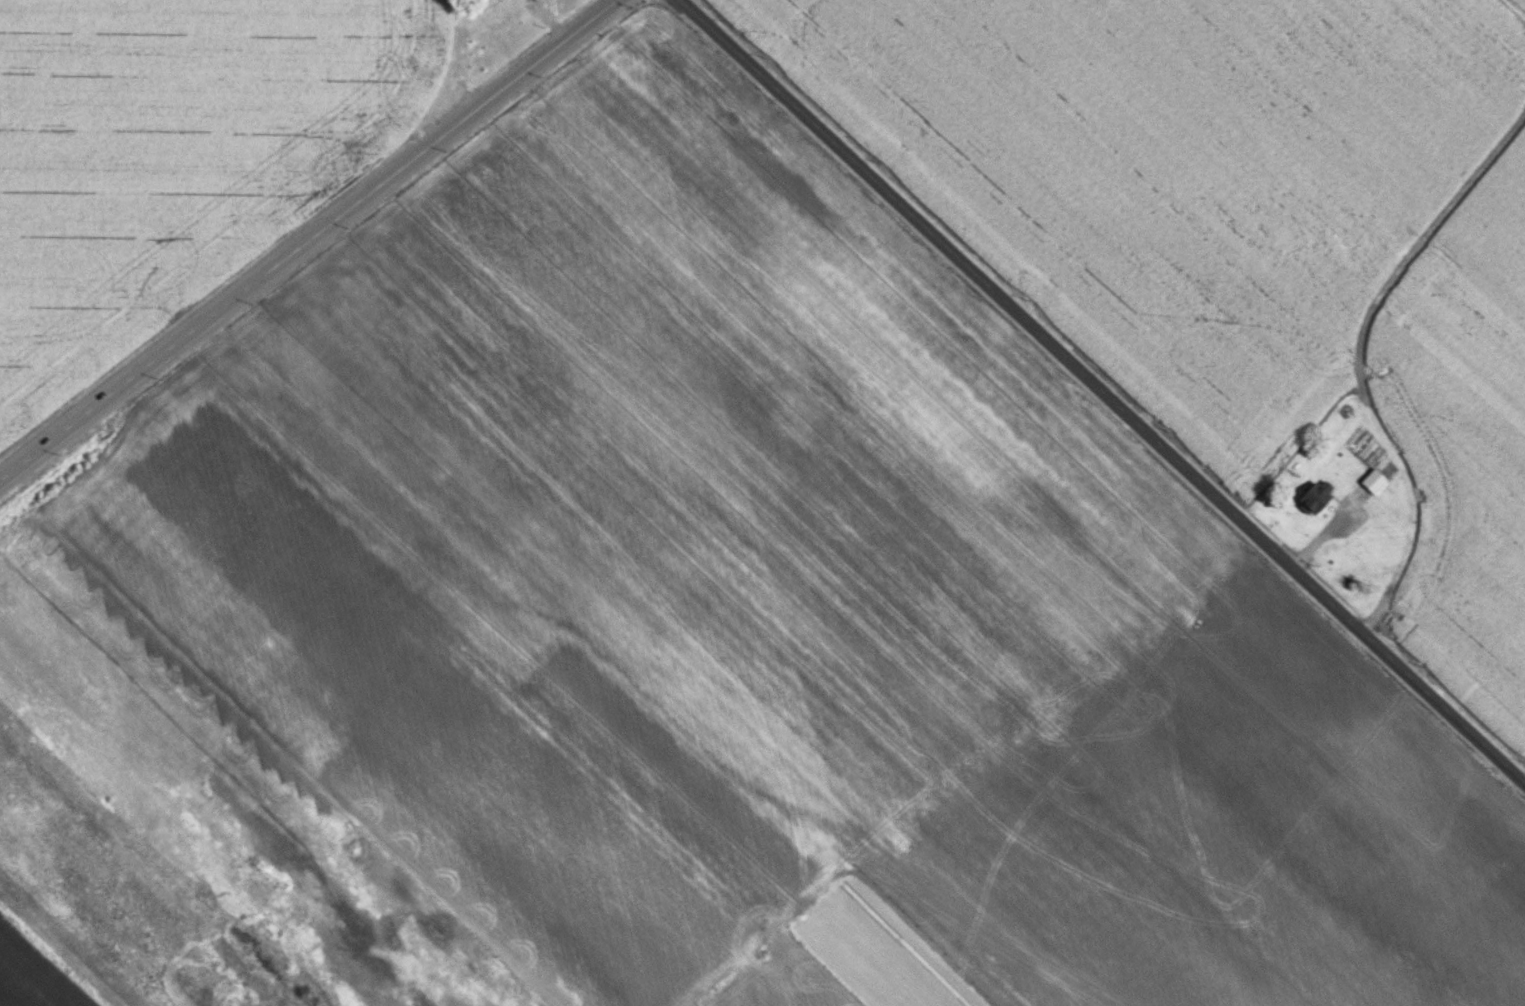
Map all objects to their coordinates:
road: (306, 238)
road: (1100, 391)
building: (1371, 480)
building: (1314, 495)

